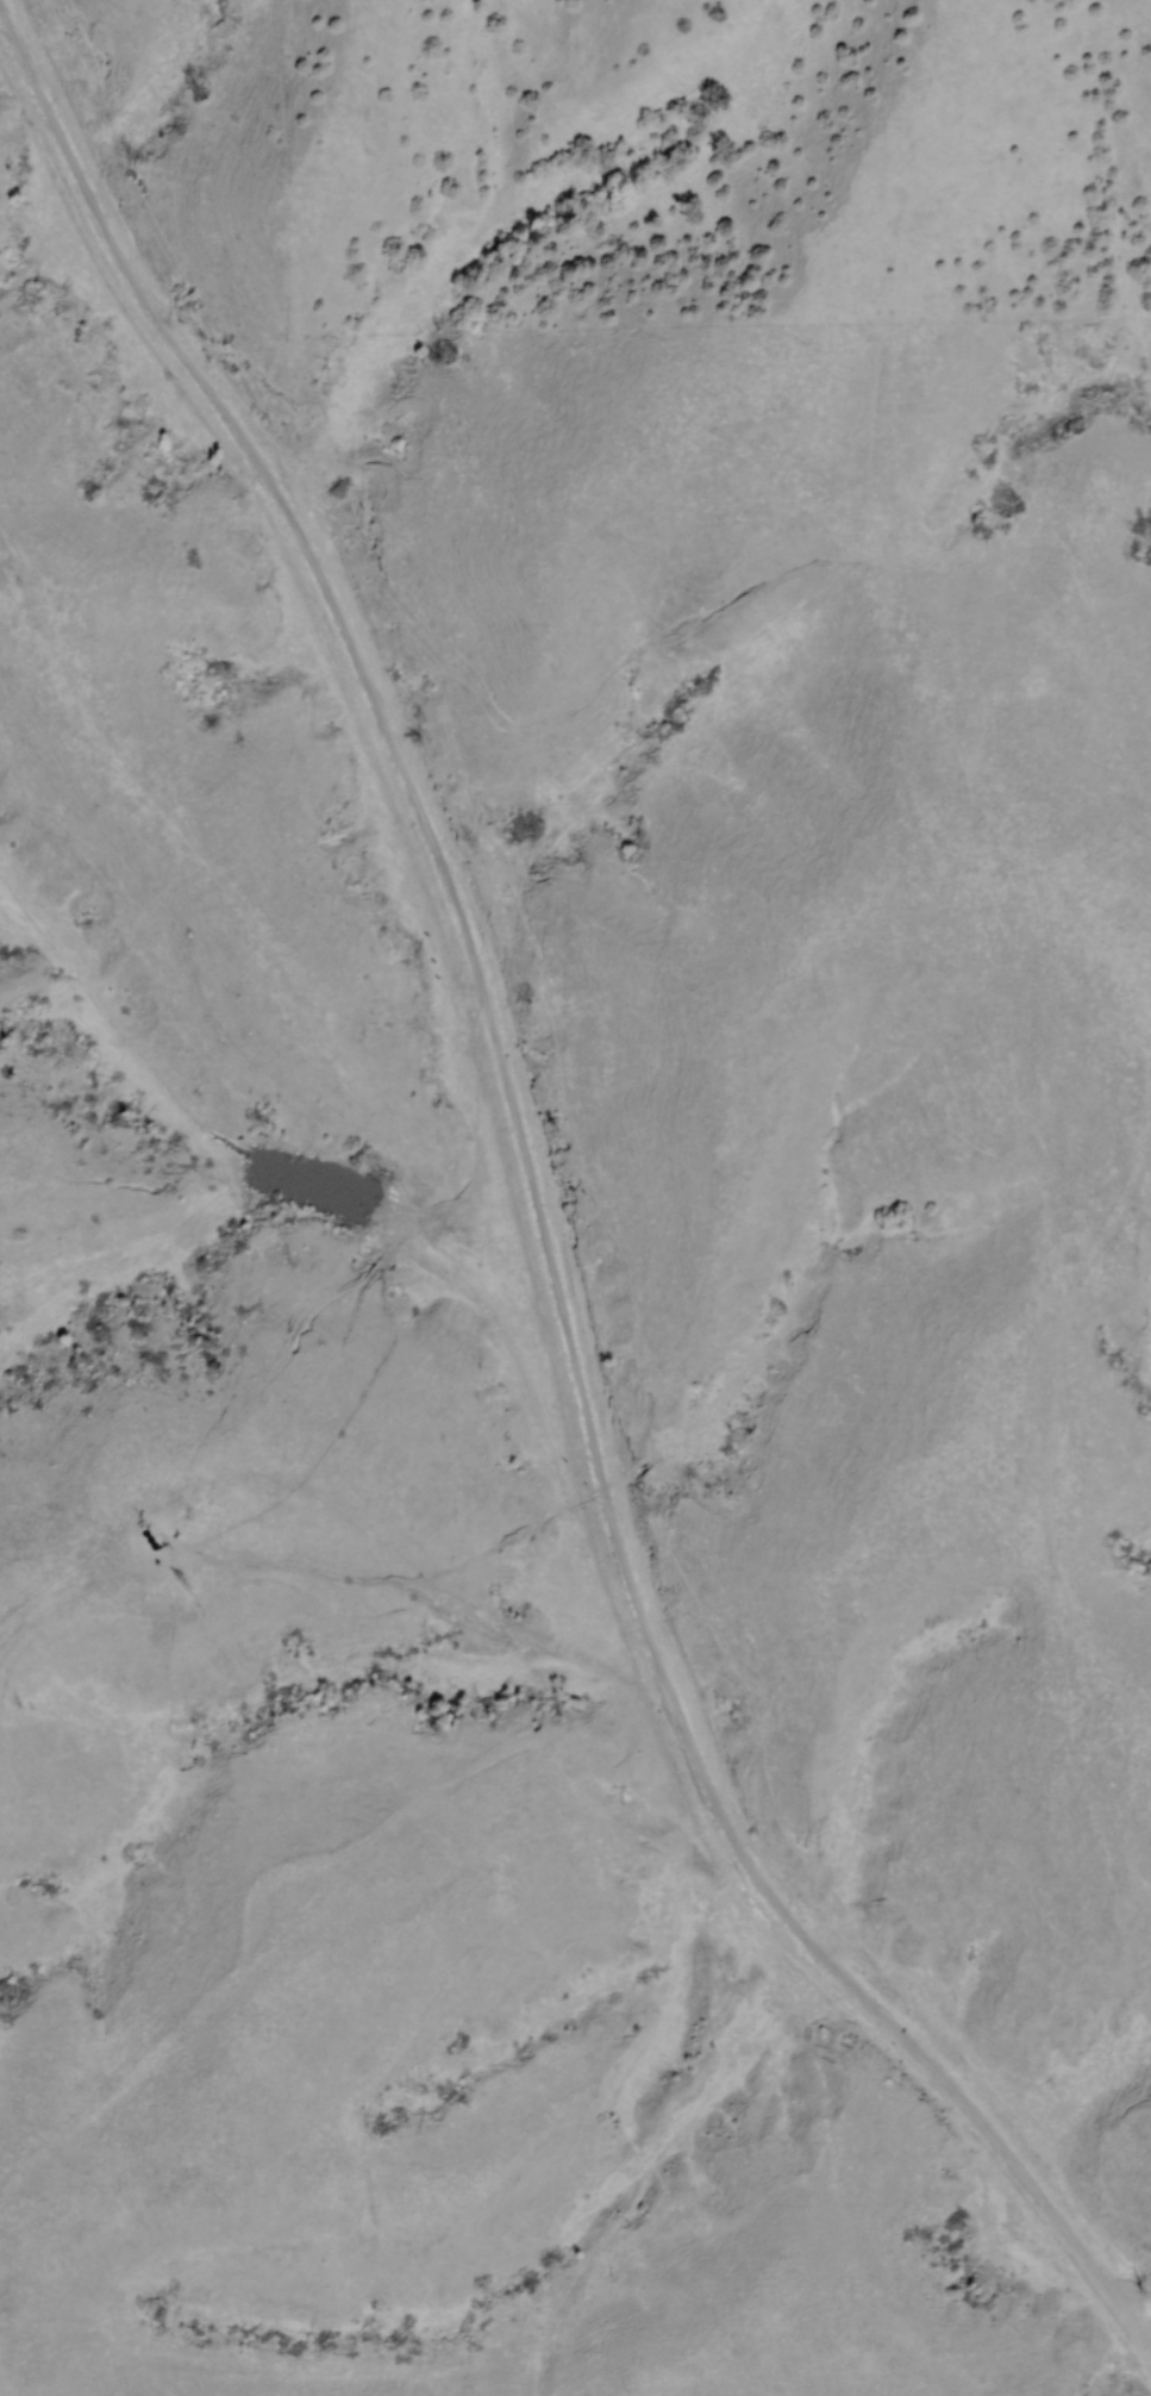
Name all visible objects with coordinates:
road: (540, 1198)

